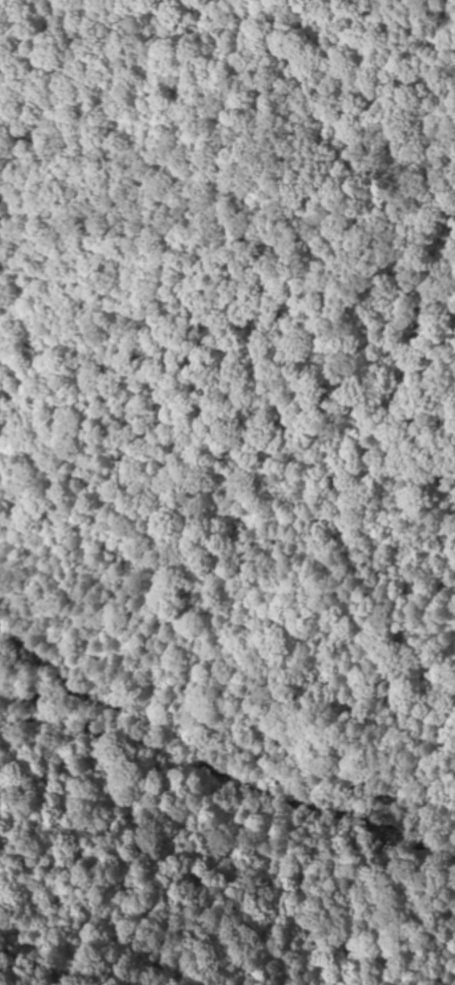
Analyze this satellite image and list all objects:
road: (227, 784)

